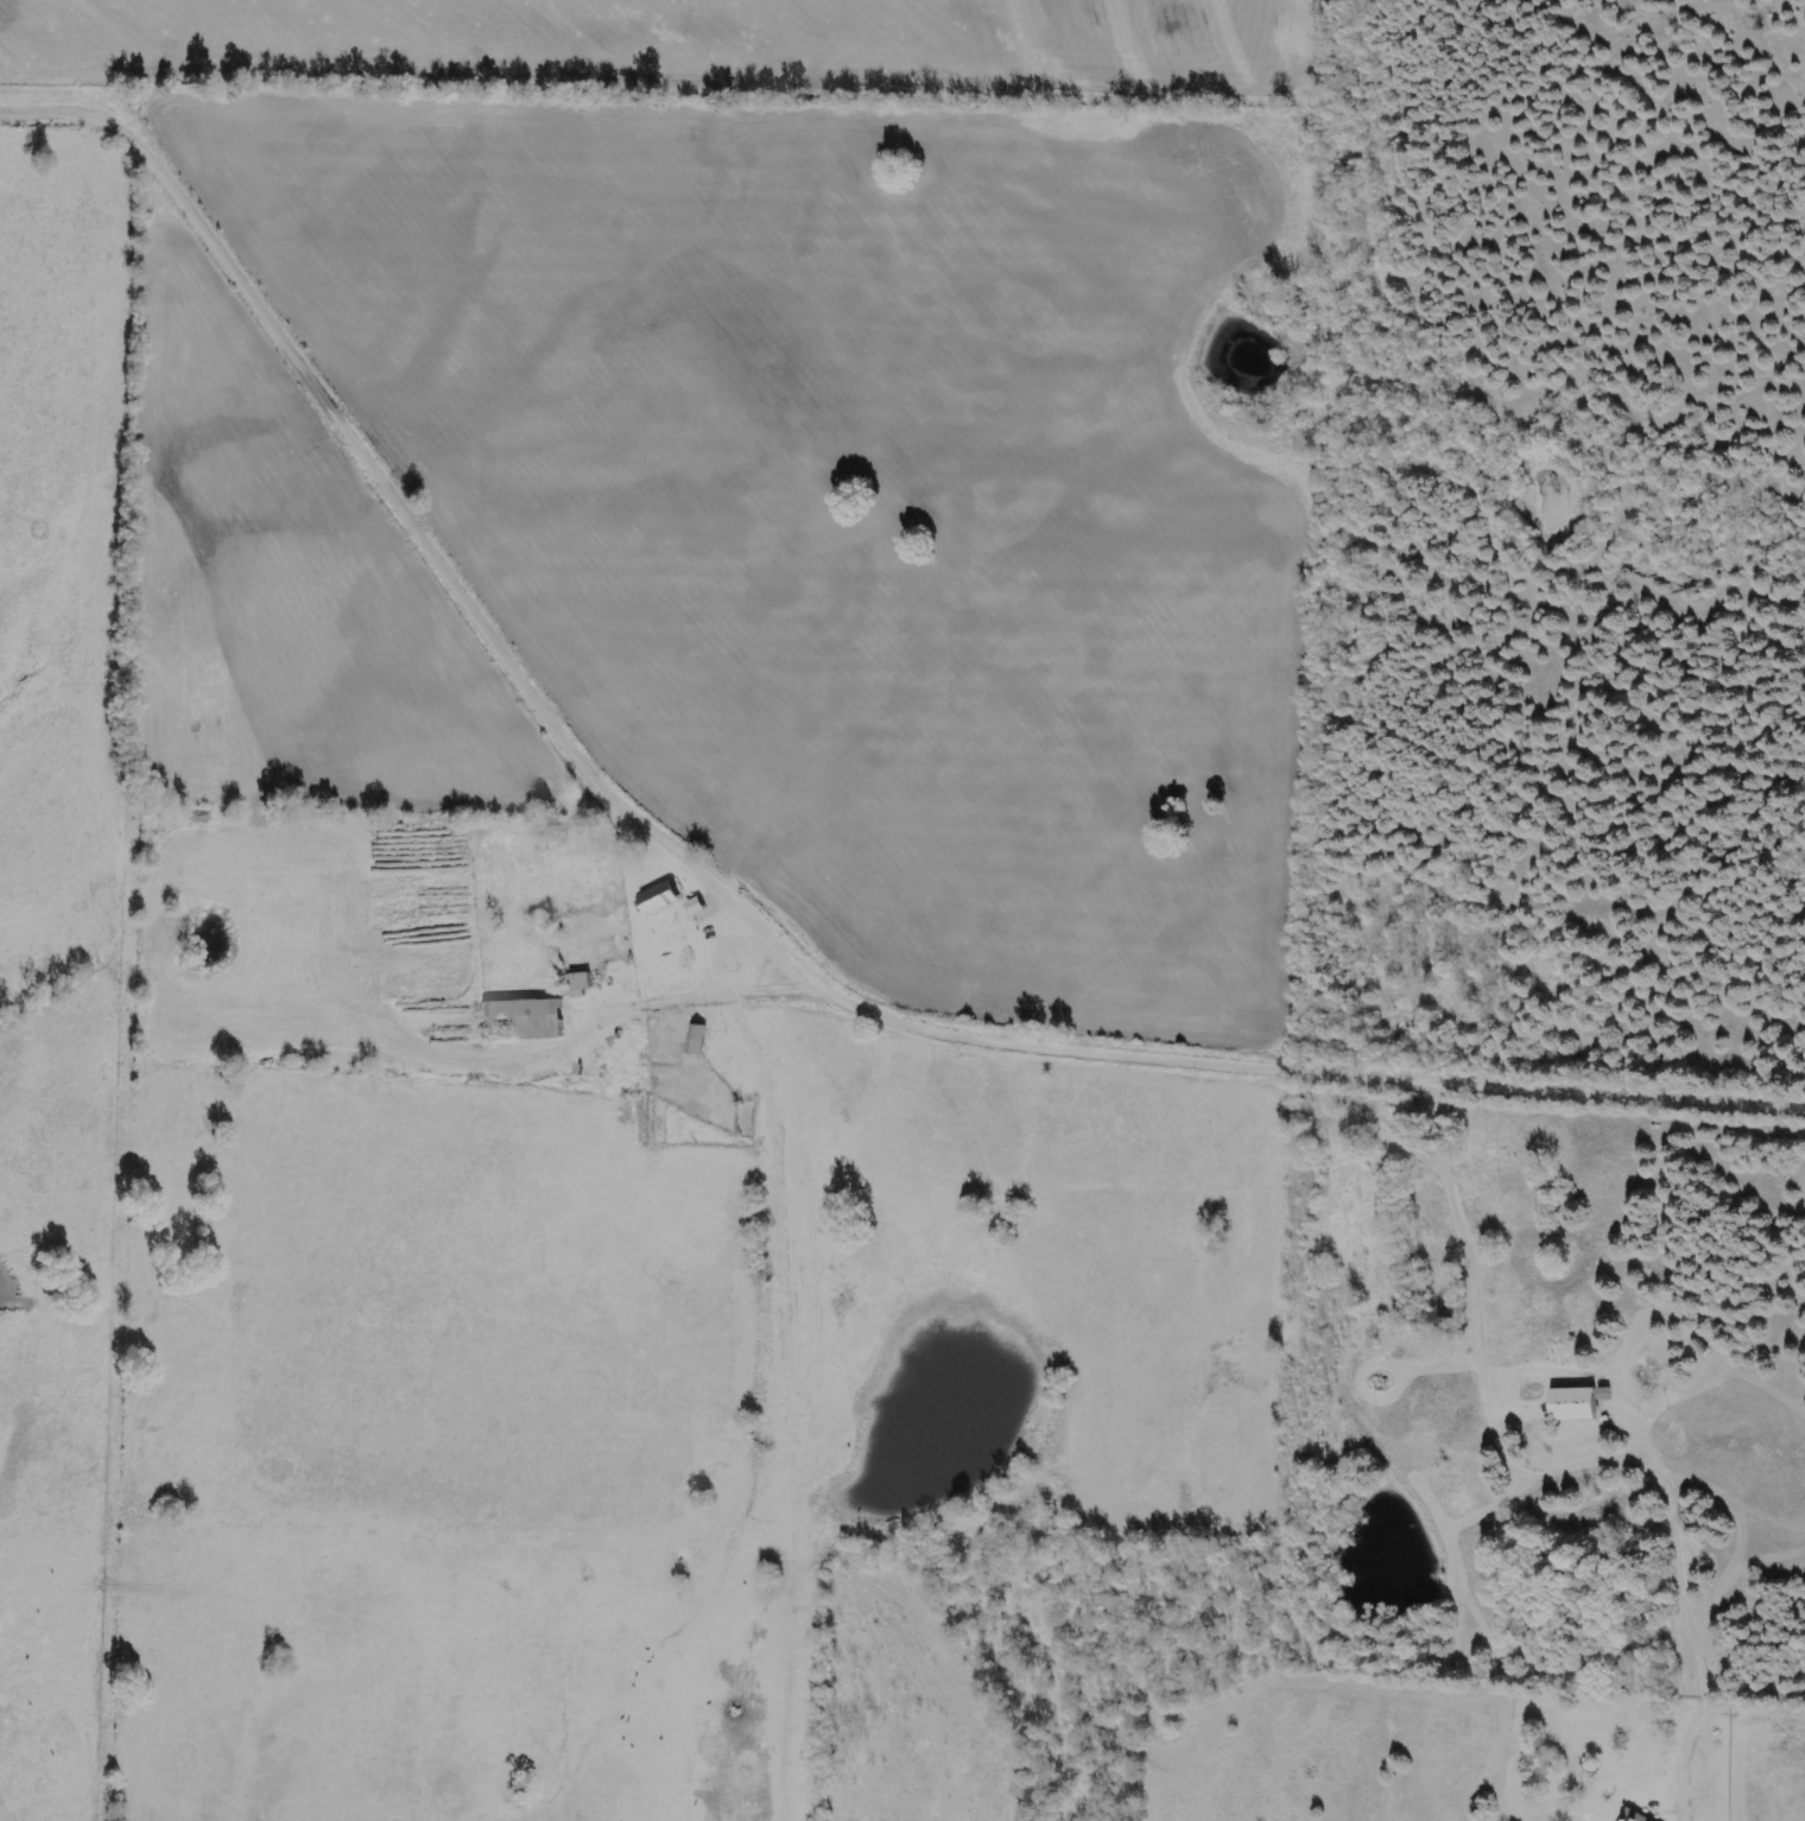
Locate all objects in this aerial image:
road: (579, 686)
building: (660, 897)
building: (697, 906)
building: (532, 1015)
road: (1548, 1070)
building: (1576, 1402)
road: (1556, 1470)
building: (1636, 1816)

